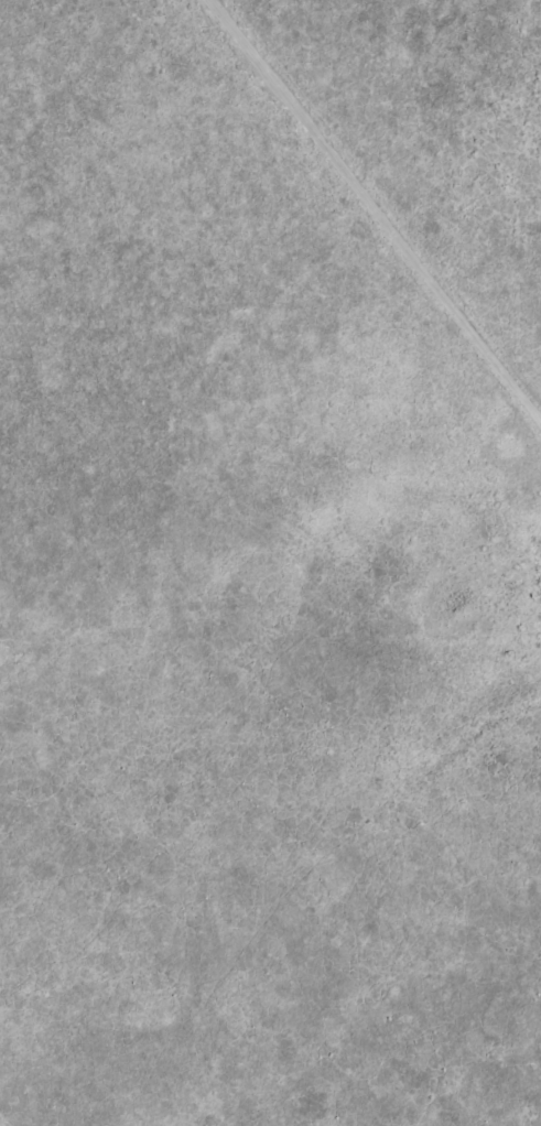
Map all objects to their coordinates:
road: (372, 215)

